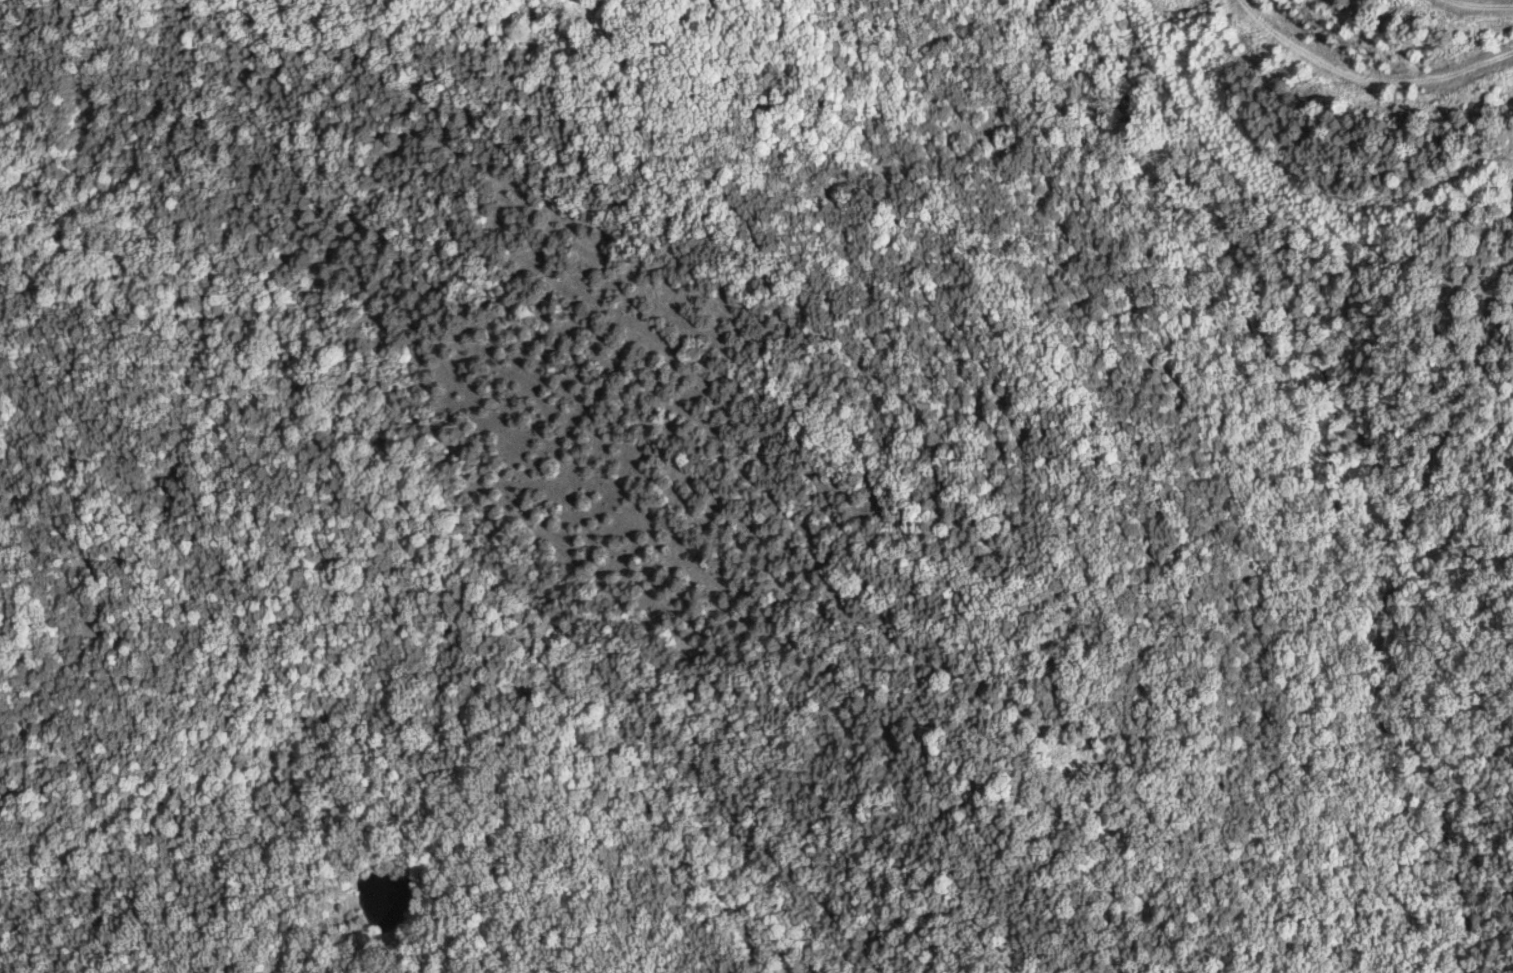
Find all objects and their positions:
road: (1486, 3)
road: (1364, 77)

